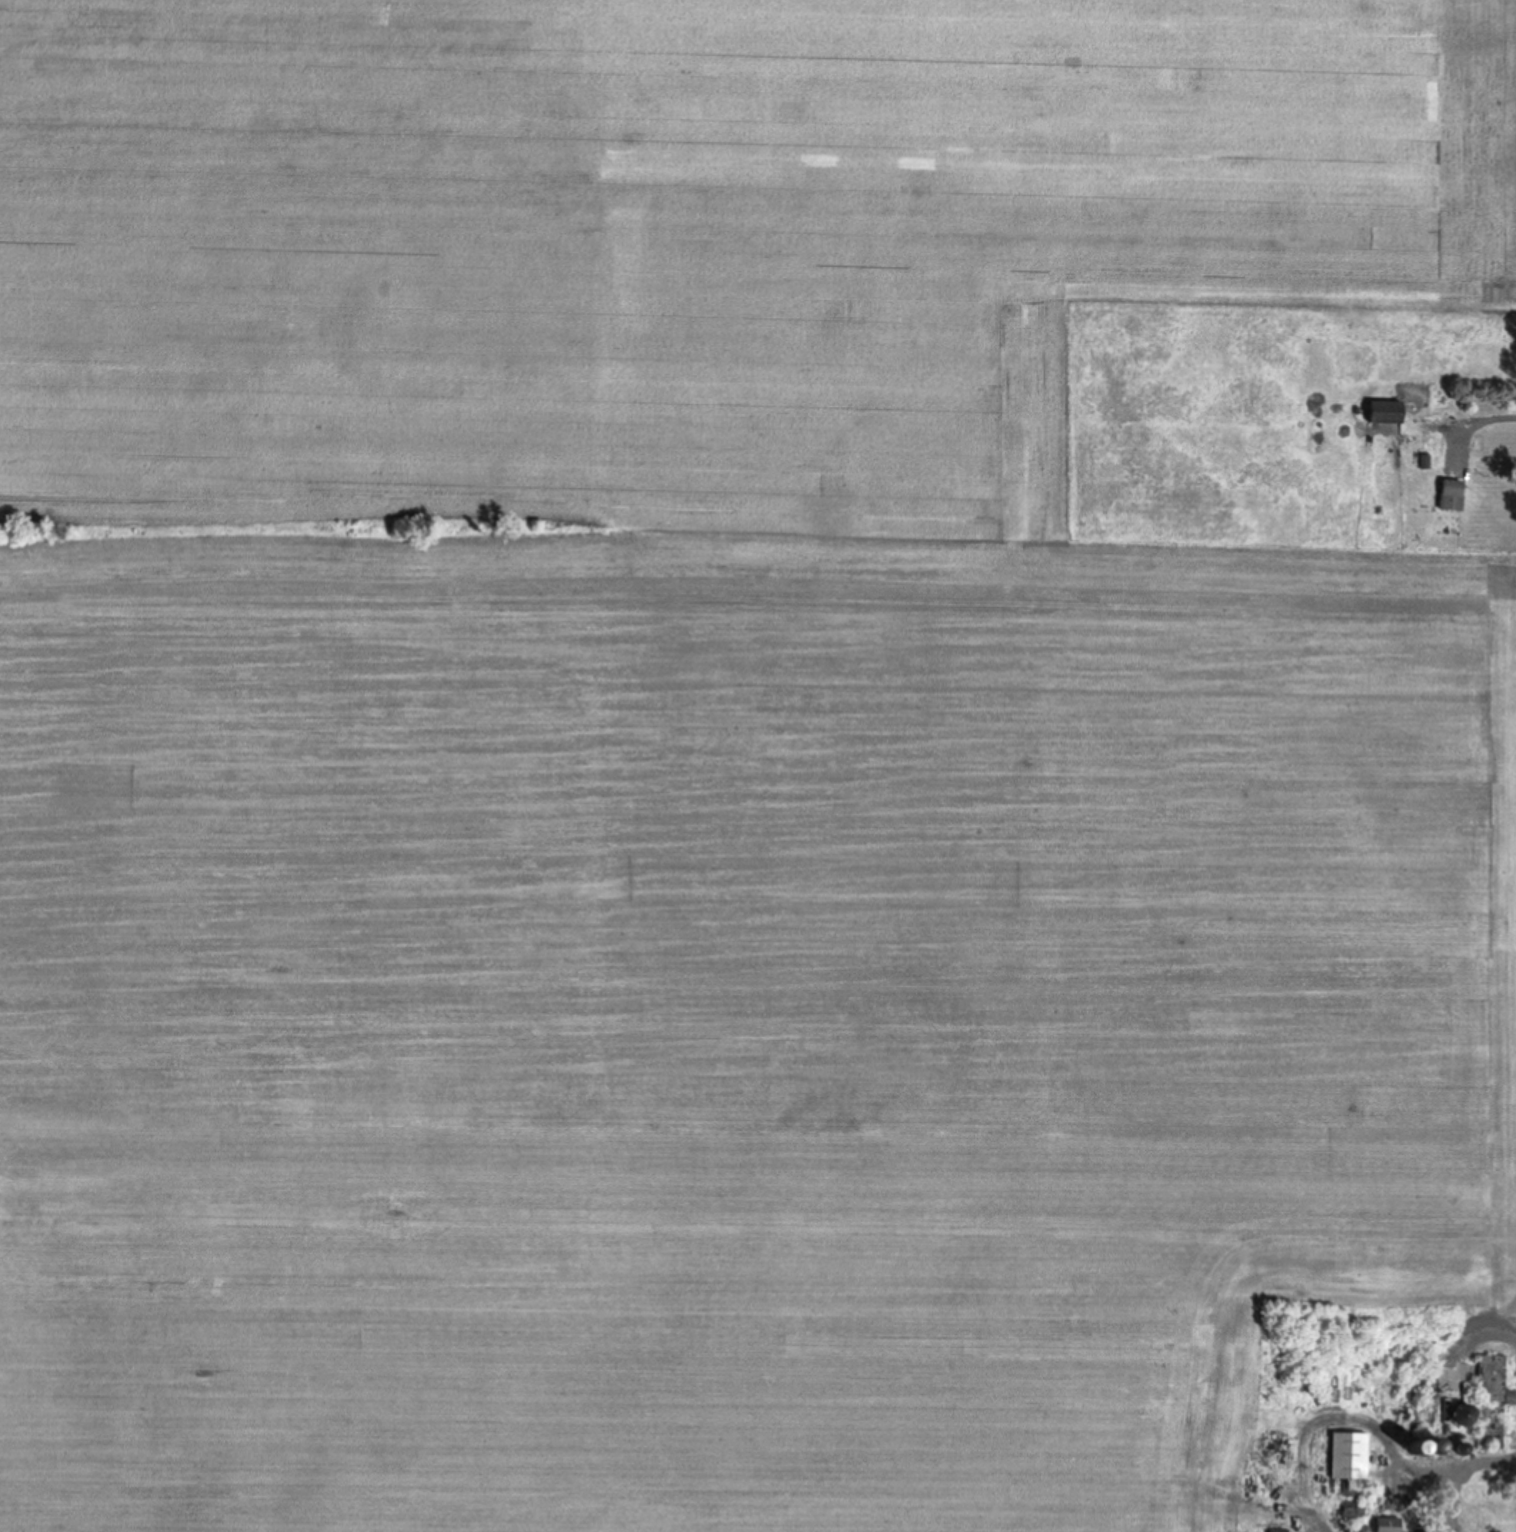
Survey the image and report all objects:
building: (1384, 411)
building: (1451, 494)
crop: (711, 766)
building: (1491, 1401)
building: (1347, 1454)
building: (1386, 1524)

